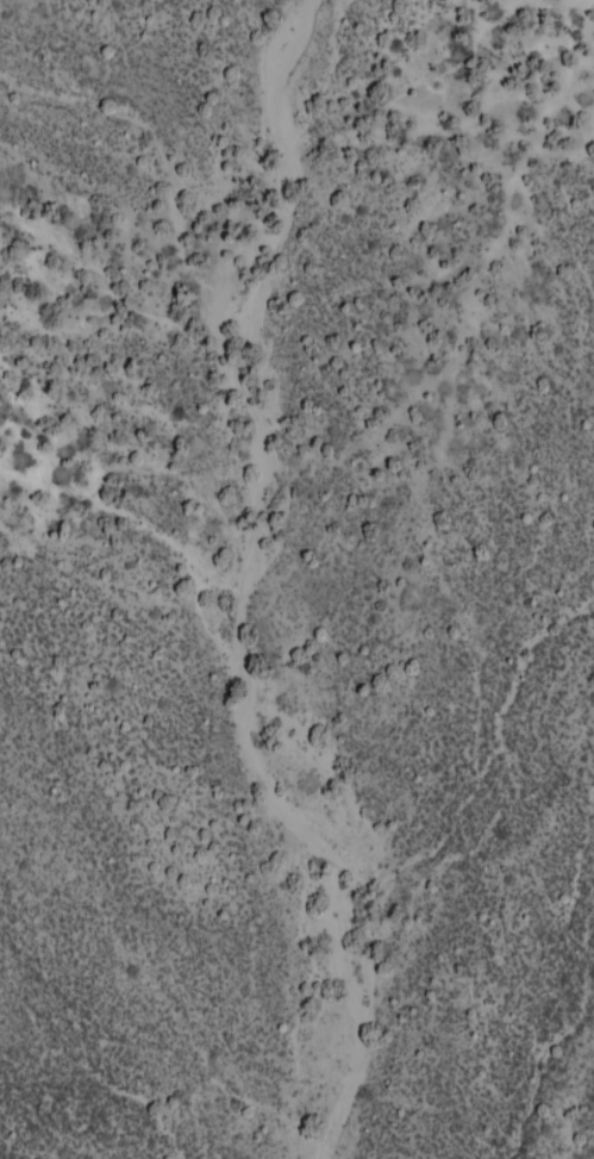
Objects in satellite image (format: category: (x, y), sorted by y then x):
road: (64, 60)
river: (286, 799)

